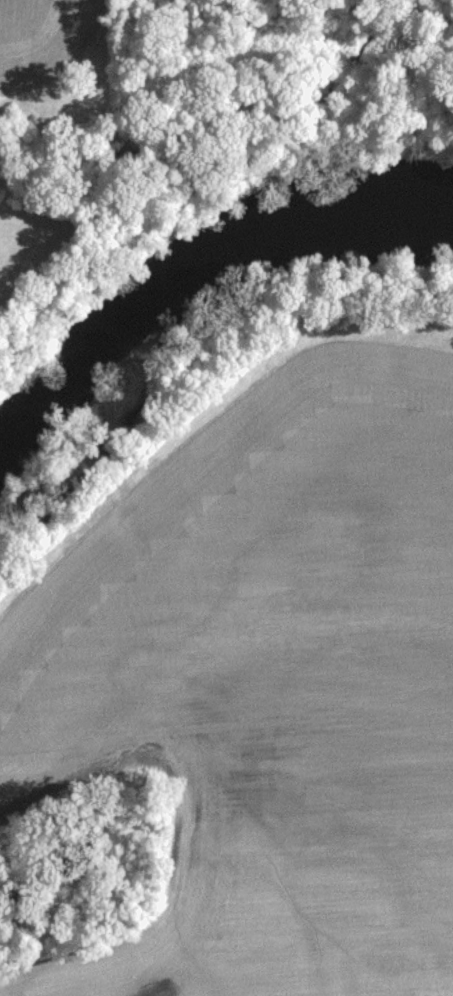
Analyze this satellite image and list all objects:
river: (187, 277)

